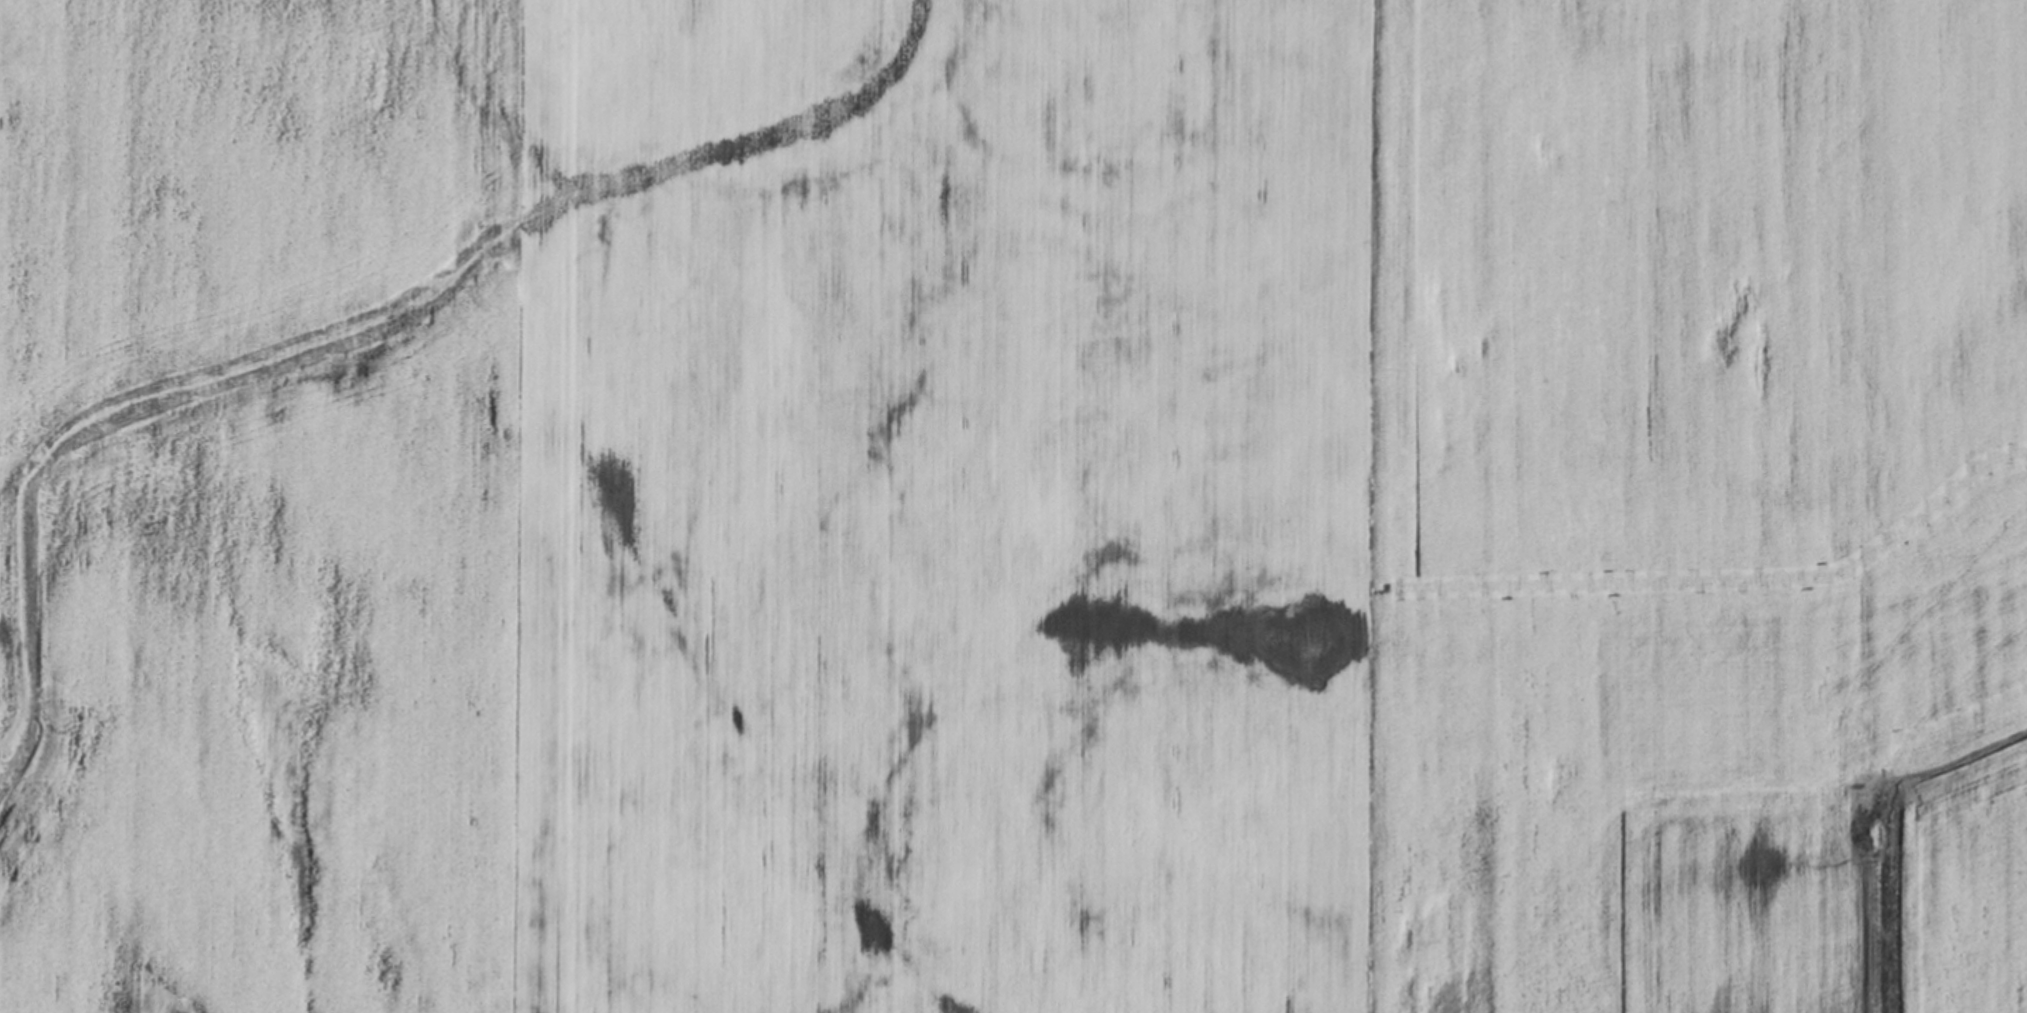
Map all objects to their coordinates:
crop: (1013, 506)

